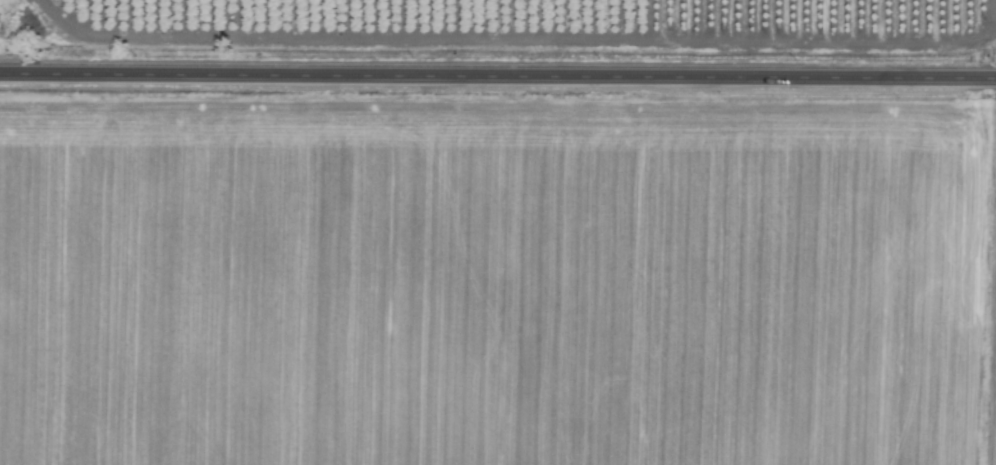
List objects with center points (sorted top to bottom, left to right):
road: (498, 73)
road: (986, 288)

